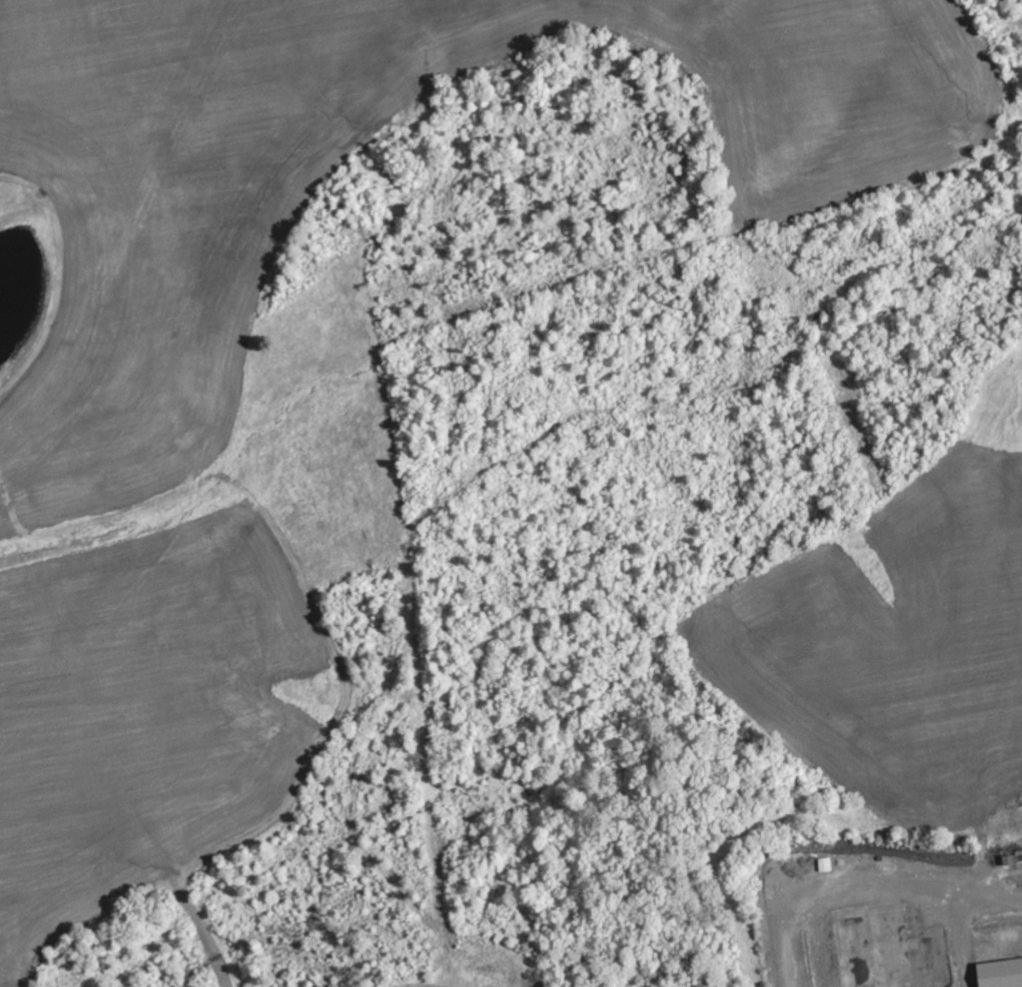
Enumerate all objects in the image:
building: (1000, 972)

